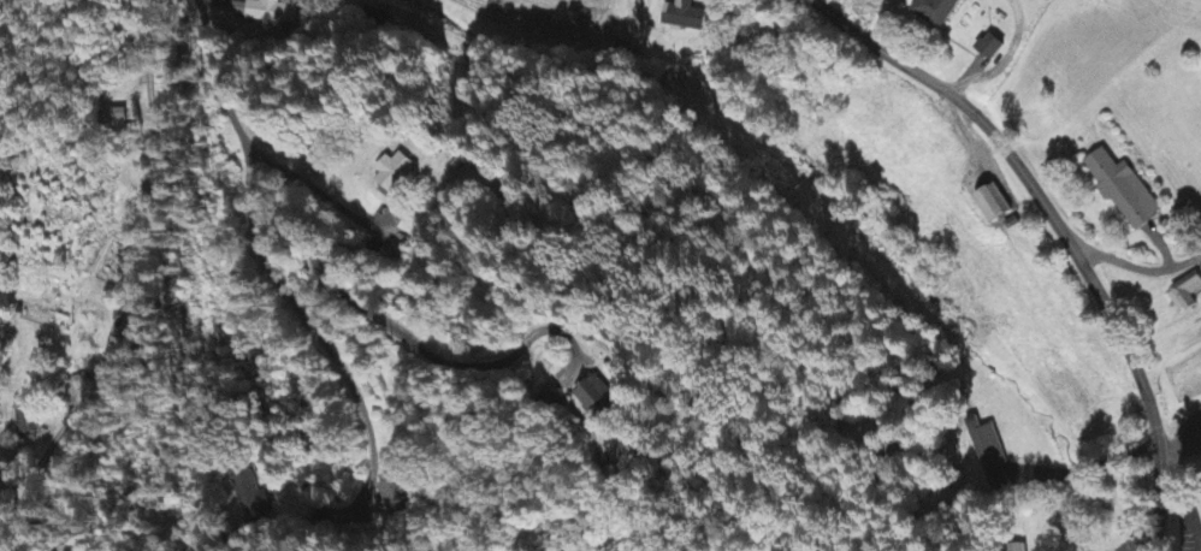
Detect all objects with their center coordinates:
building: (936, 12)
building: (265, 13)
building: (684, 17)
building: (993, 48)
building: (111, 117)
building: (395, 173)
building: (1123, 191)
building: (994, 207)
road: (356, 219)
road: (1061, 229)
road: (1140, 267)
building: (1187, 296)
building: (125, 343)
road: (323, 344)
building: (599, 397)
building: (25, 420)
building: (986, 446)
road: (1089, 463)
building: (252, 496)
building: (392, 497)

